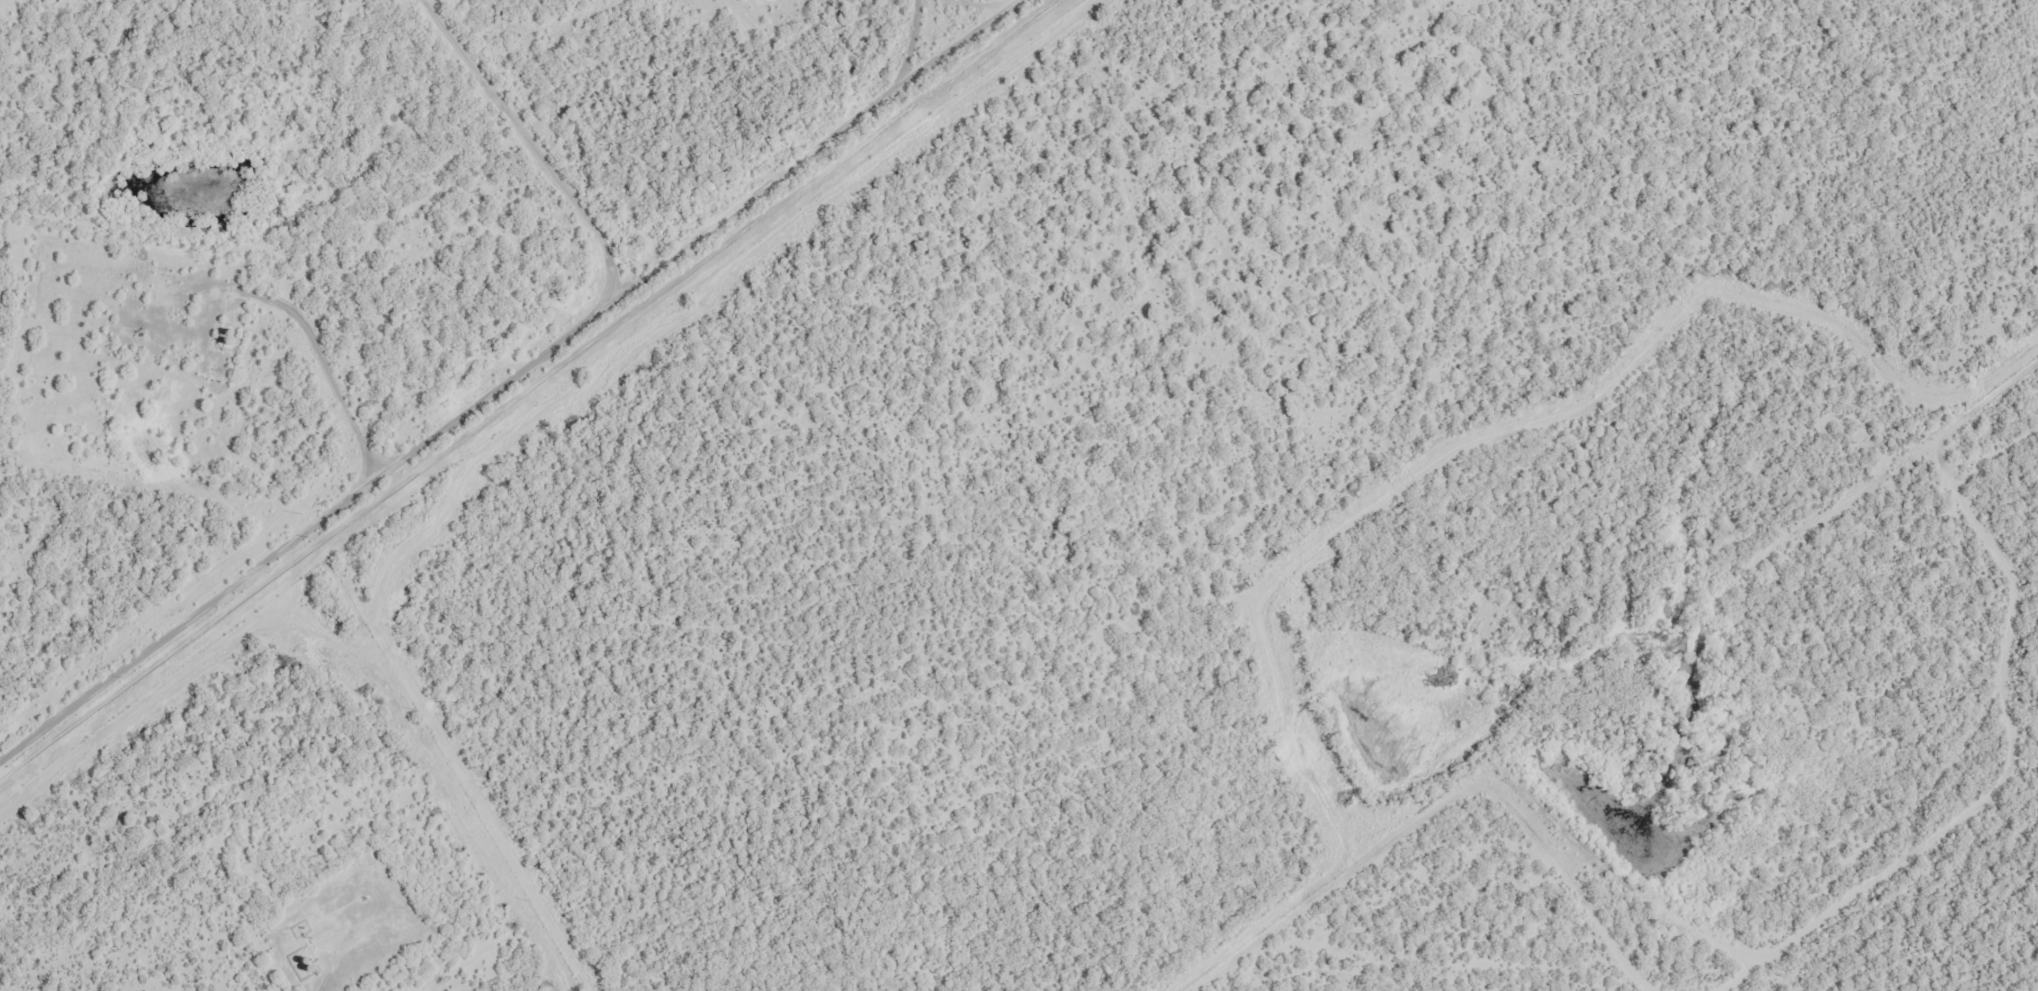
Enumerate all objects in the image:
road: (538, 396)

